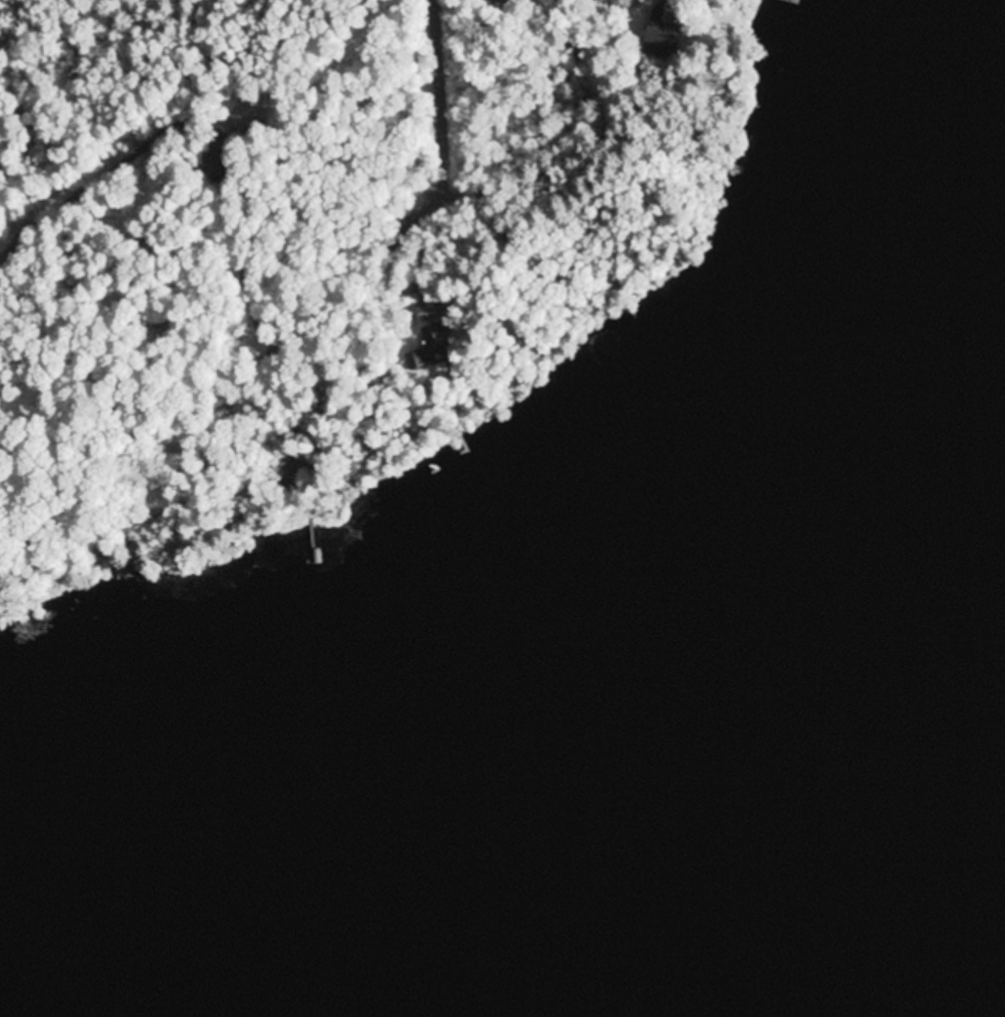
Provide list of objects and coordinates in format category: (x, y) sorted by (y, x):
road: (445, 100)
road: (152, 120)

